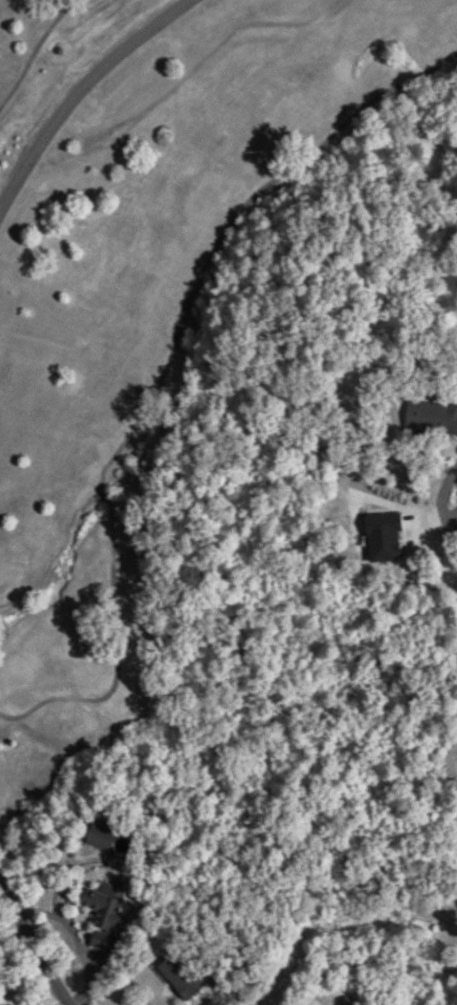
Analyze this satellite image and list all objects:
road: (32, 46)
road: (74, 89)
park: (161, 302)
road: (161, 371)
building: (430, 418)
road: (449, 499)
building: (381, 538)
building: (99, 837)
building: (101, 908)
road: (32, 946)
building: (179, 977)

